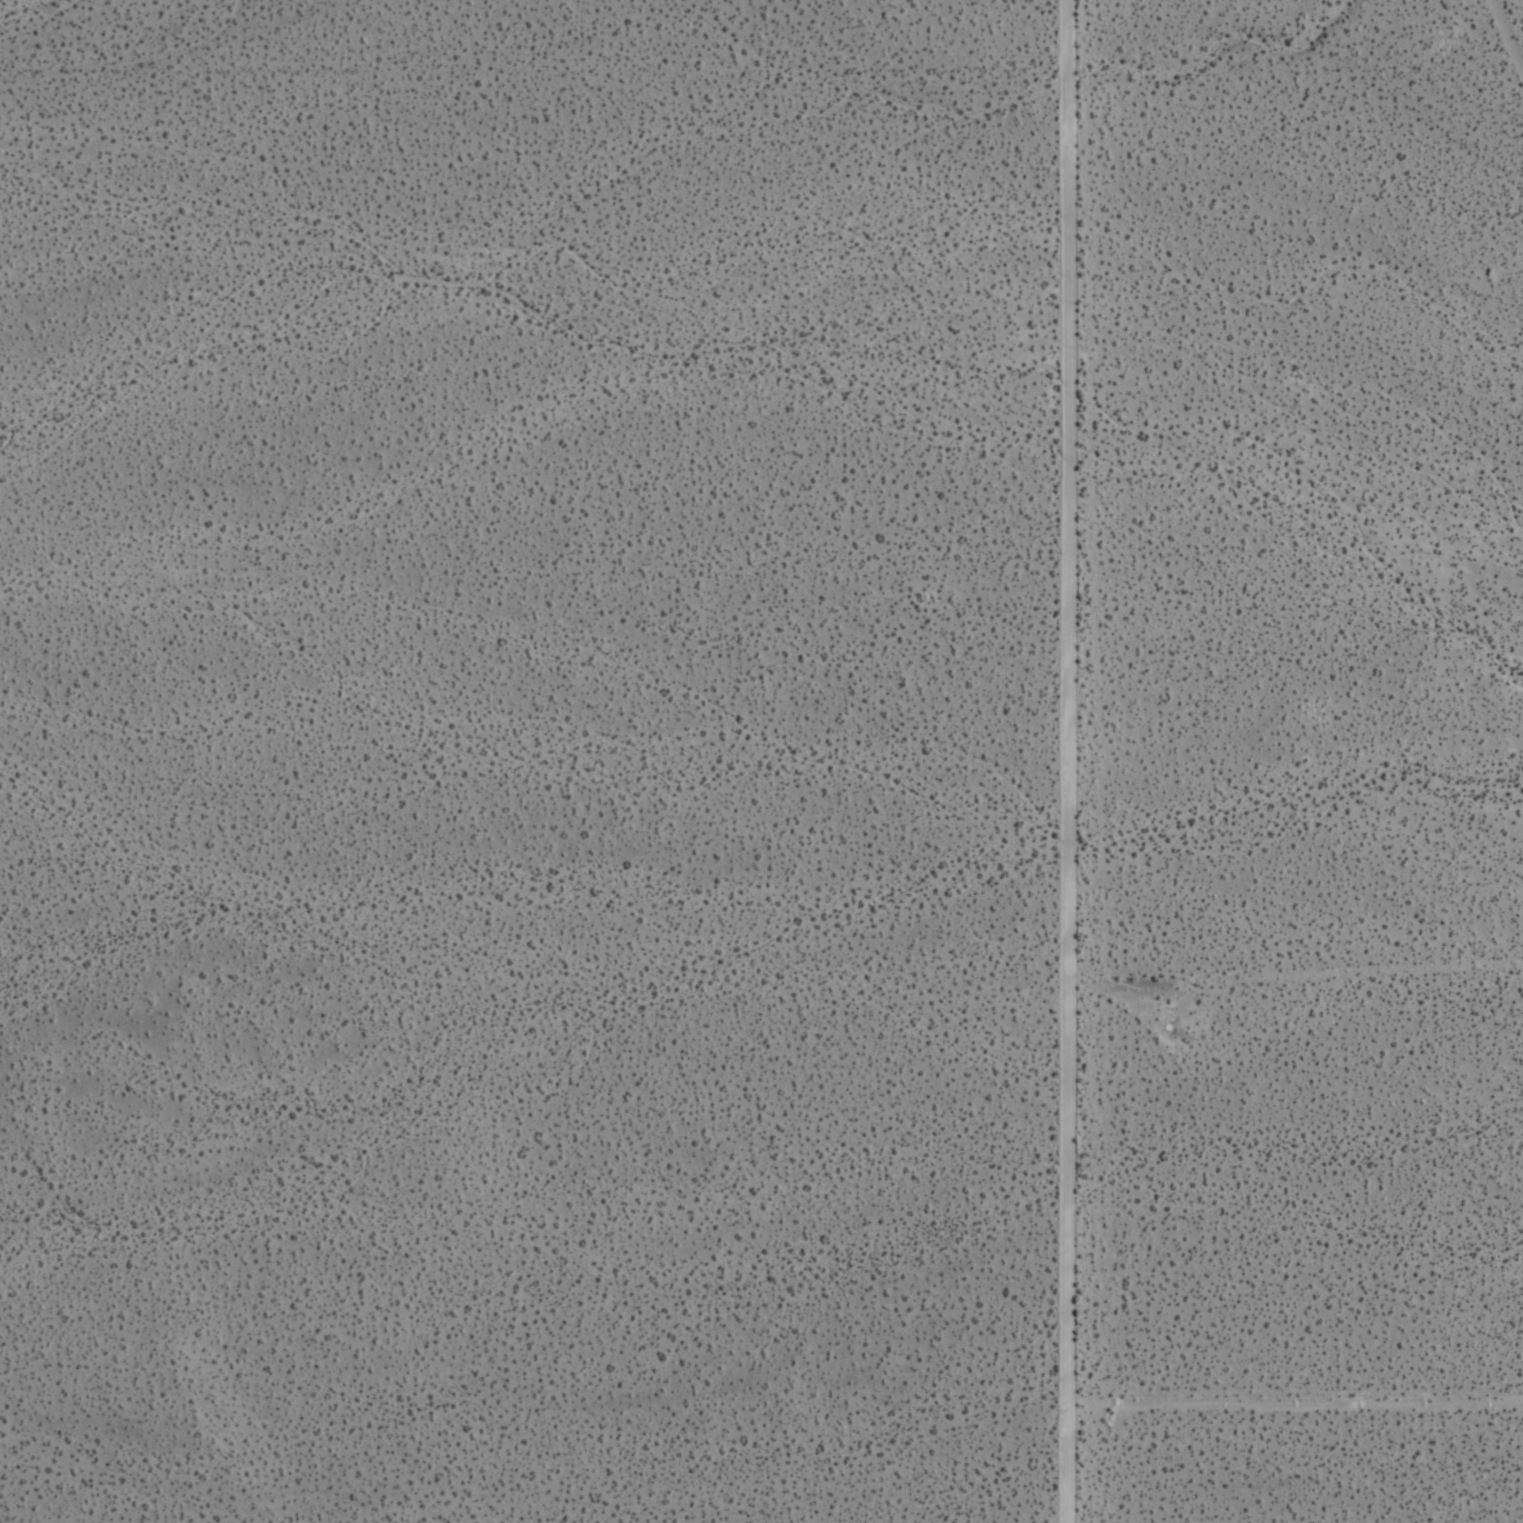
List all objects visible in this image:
road: (1067, 702)
road: (1294, 1401)
road: (1065, 1463)

